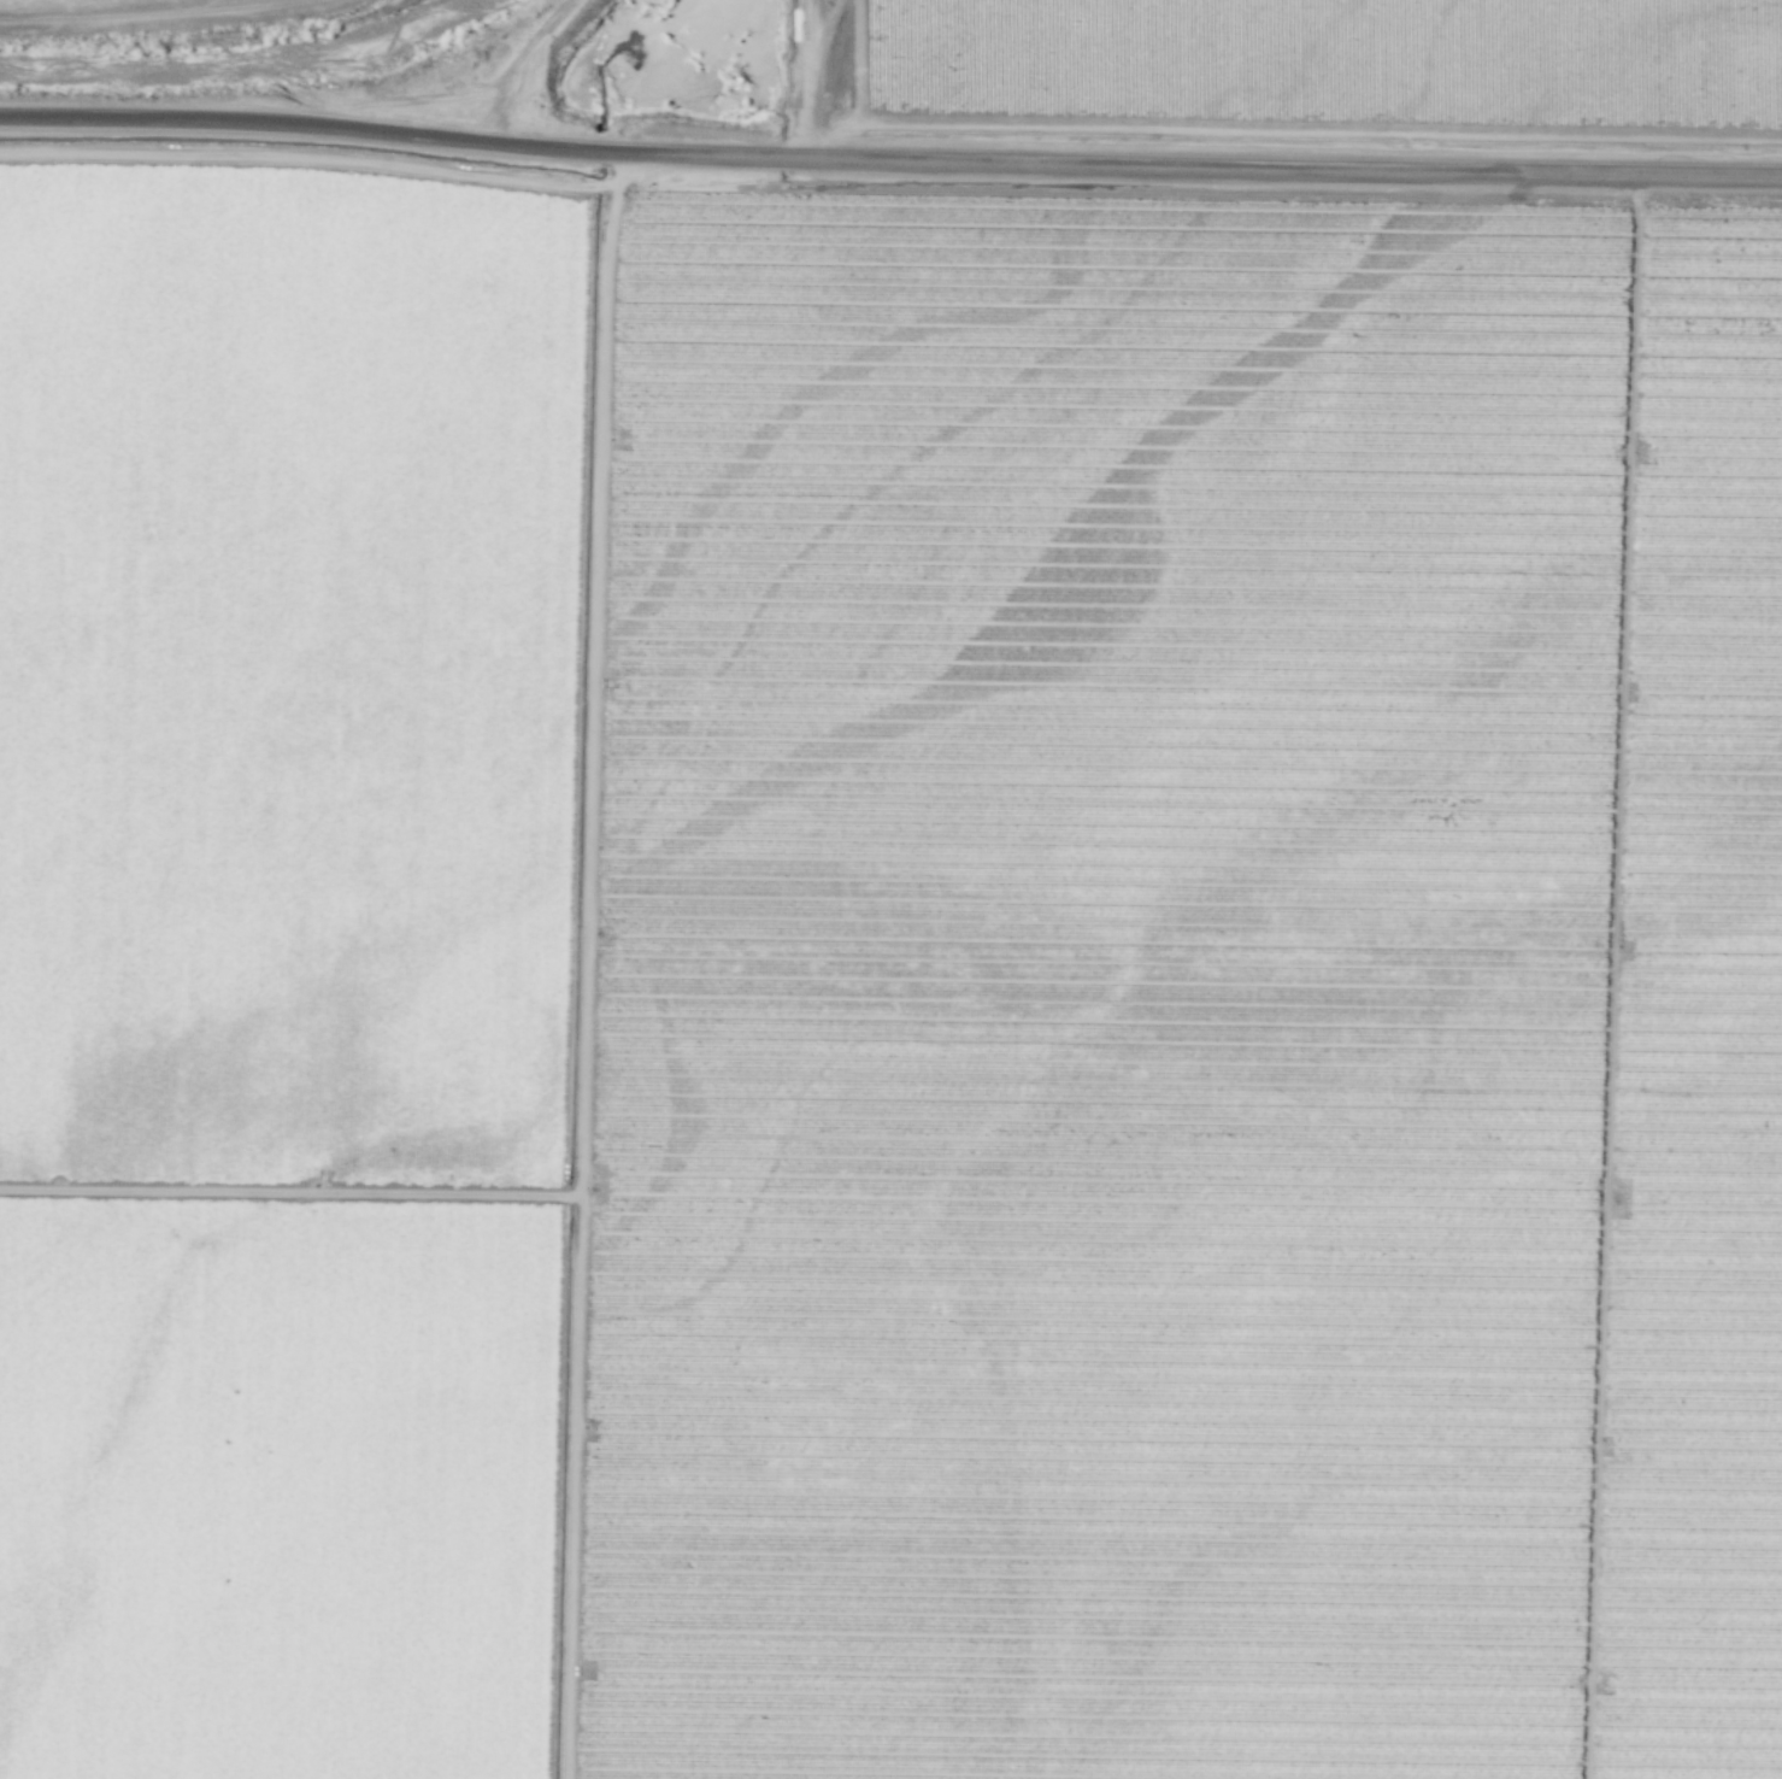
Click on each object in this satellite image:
road: (299, 0)
road: (153, 12)
road: (517, 60)
road: (807, 78)
road: (411, 99)
road: (1293, 129)
road: (308, 154)
road: (889, 155)
road: (577, 689)
road: (586, 963)
road: (1610, 976)
road: (289, 1190)
road: (557, 1487)

